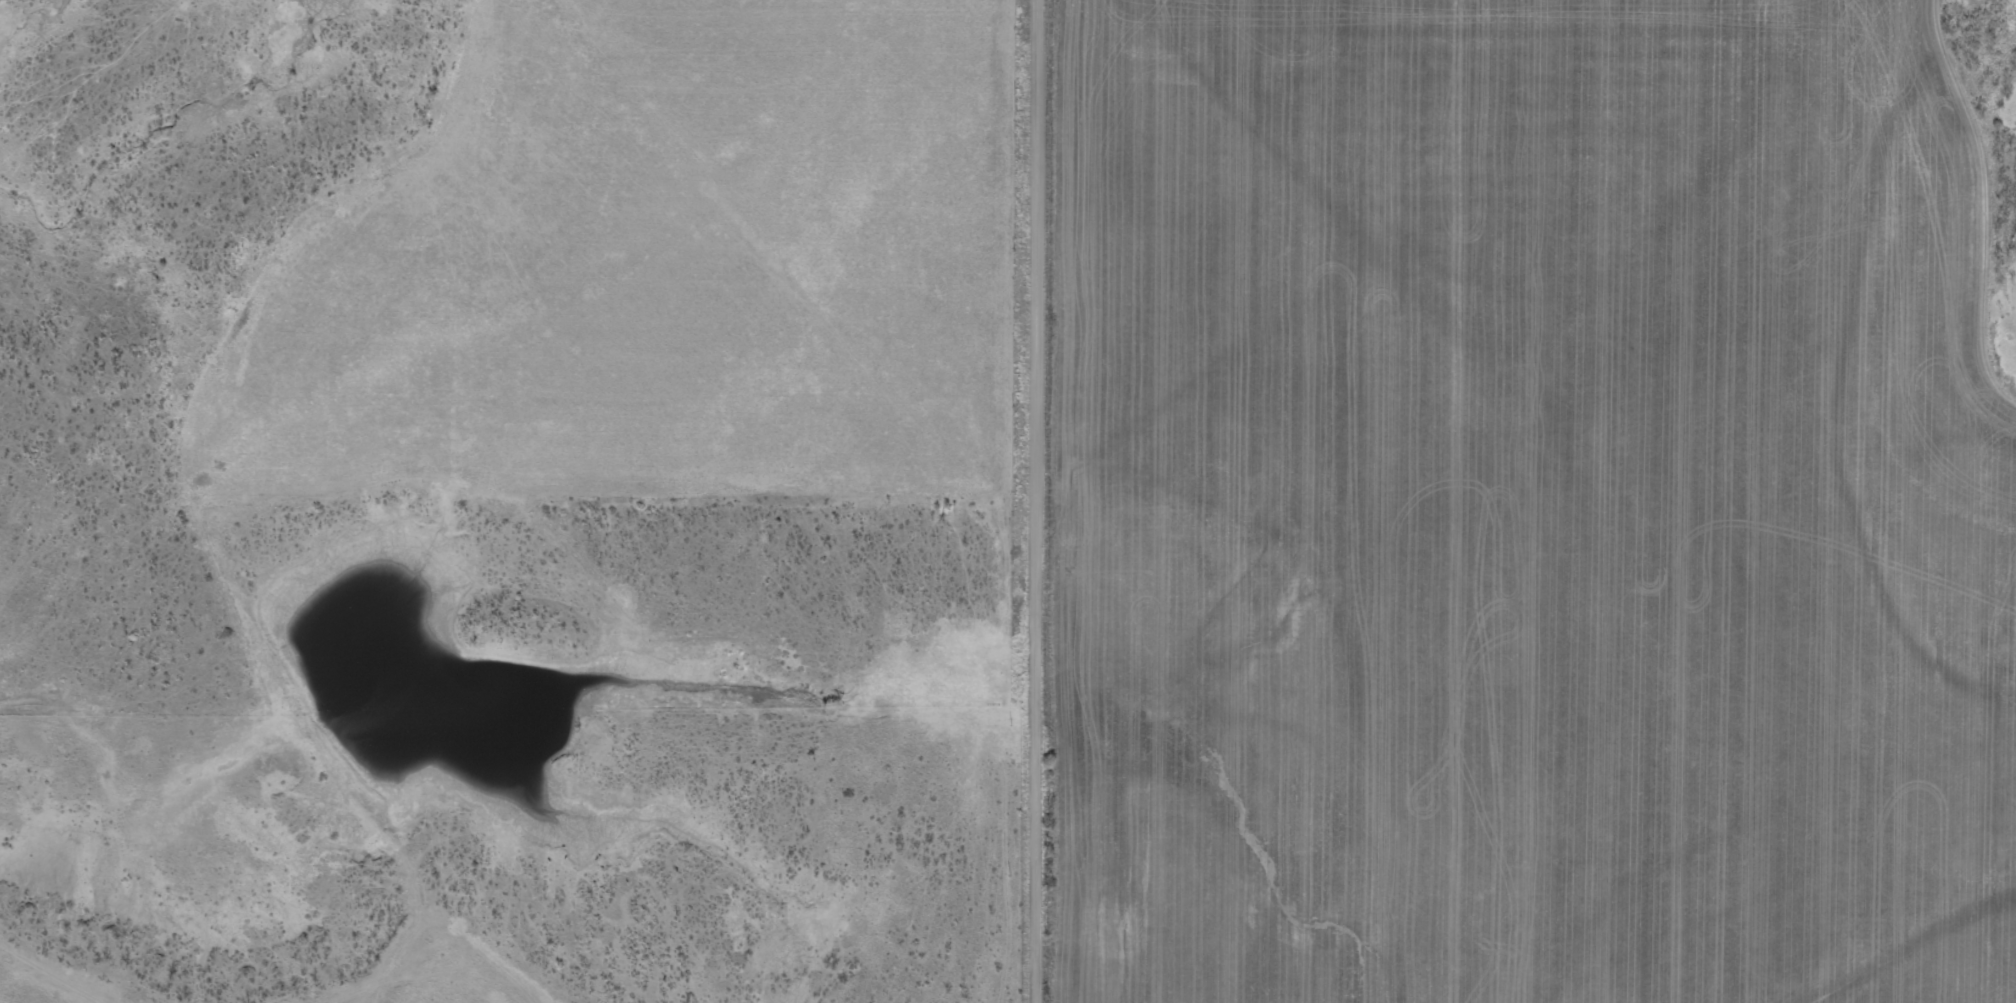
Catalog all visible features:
road: (1041, 501)
road: (319, 747)
road: (55, 968)
road: (438, 976)

